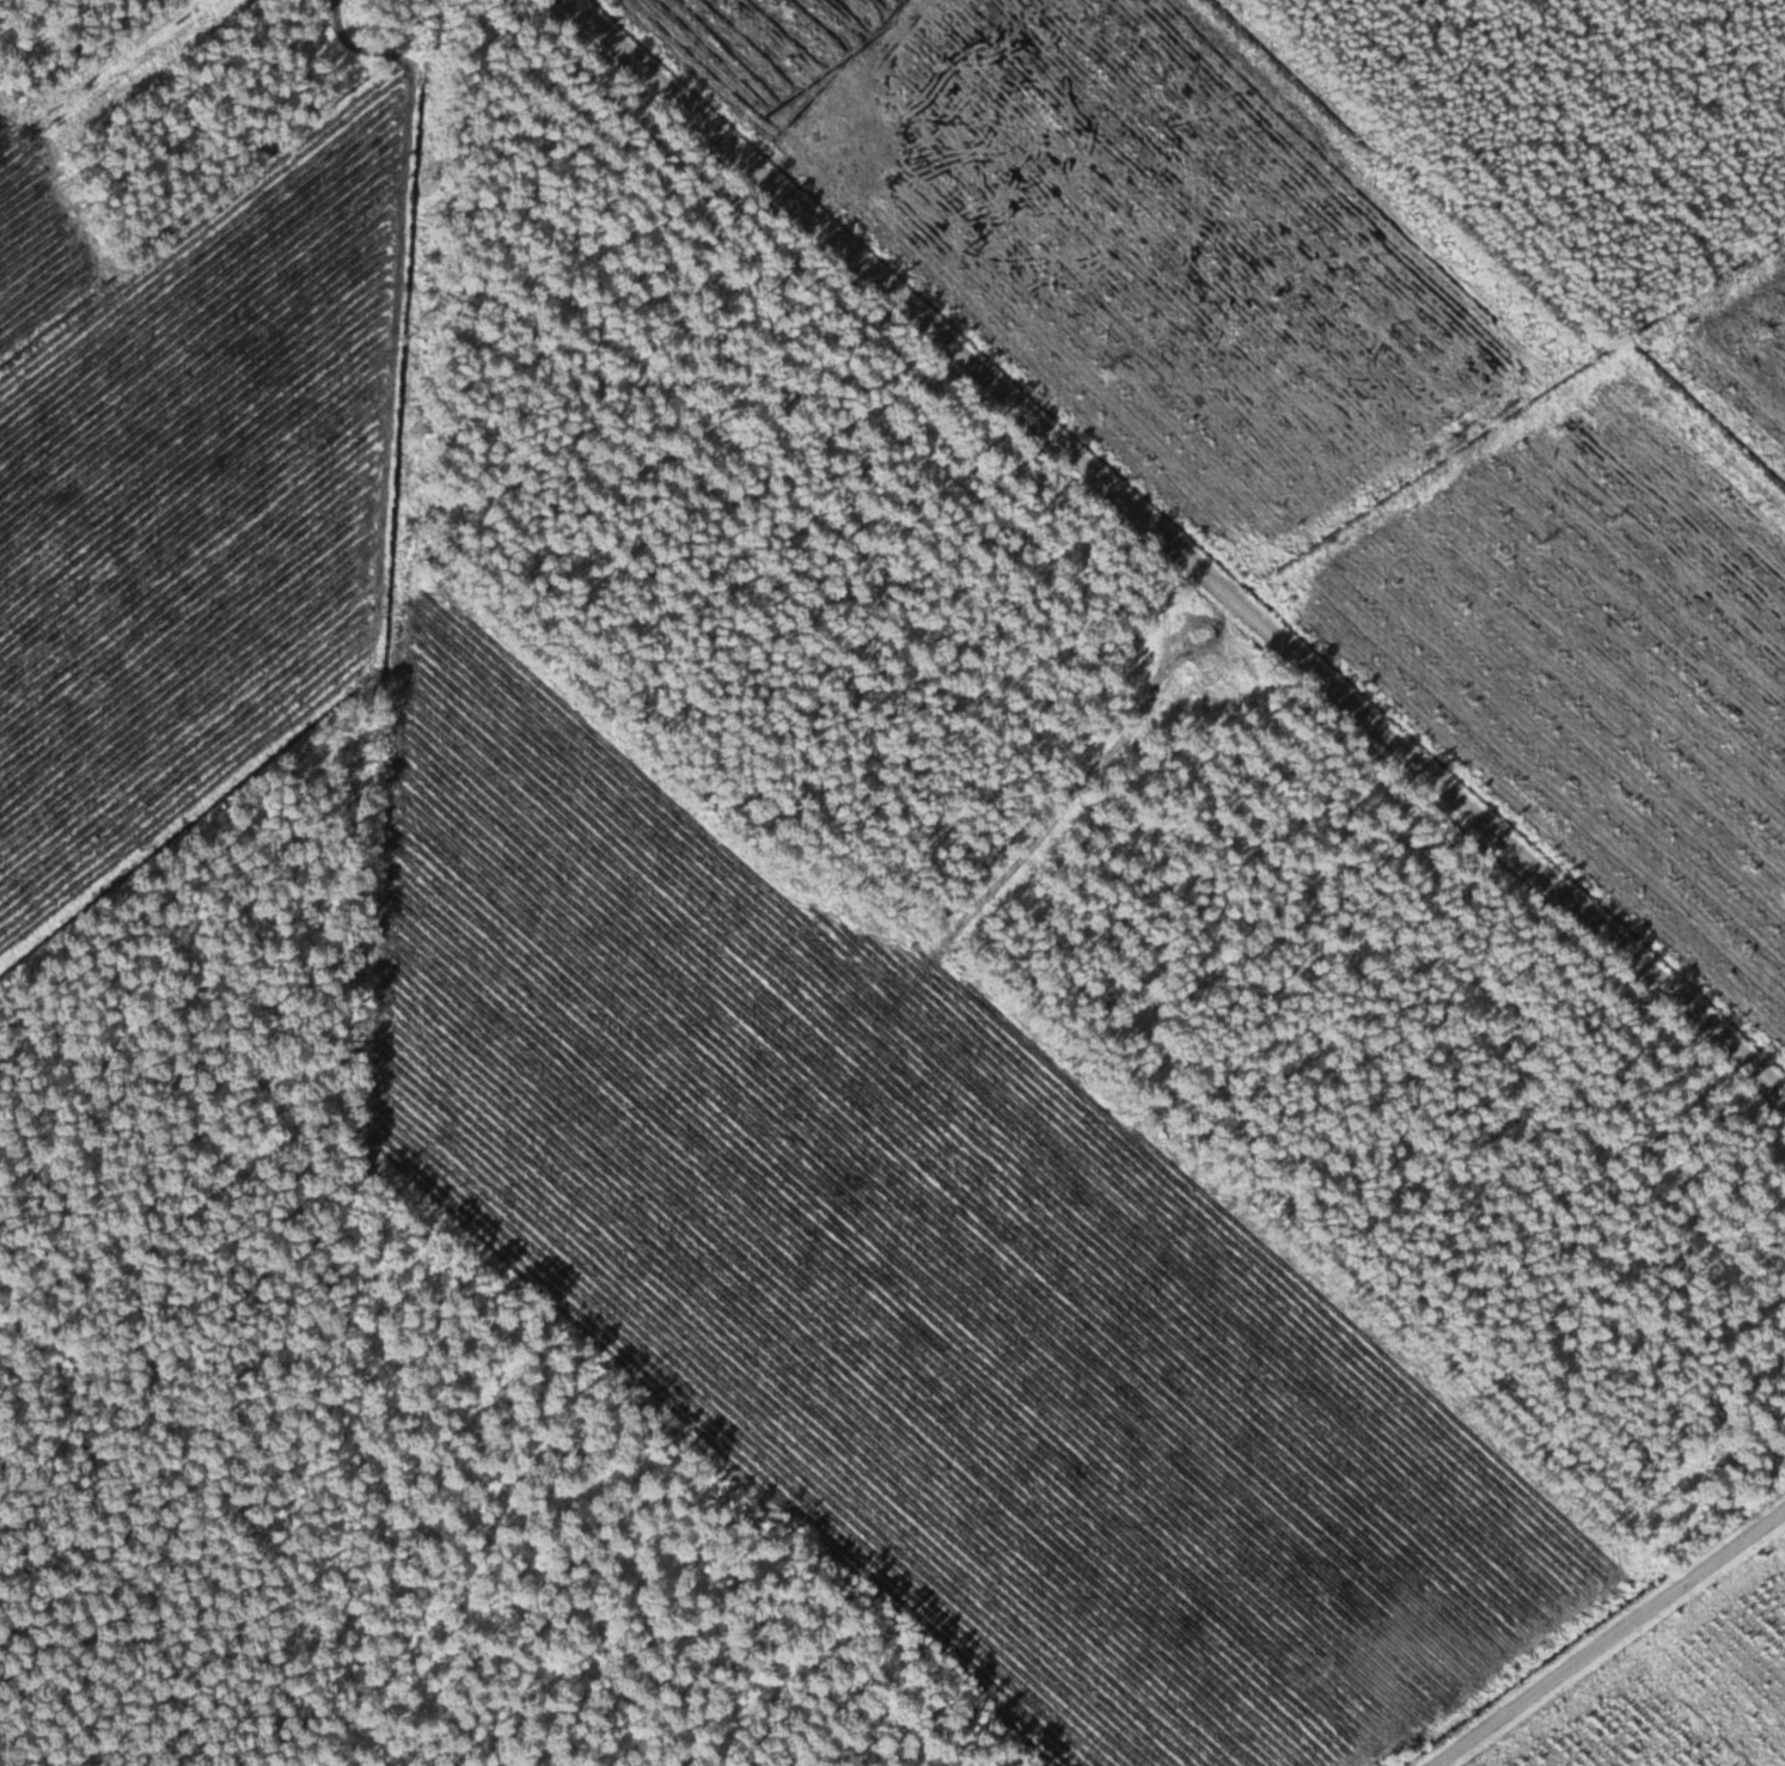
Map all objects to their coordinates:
road: (1179, 543)
road: (1609, 1636)

